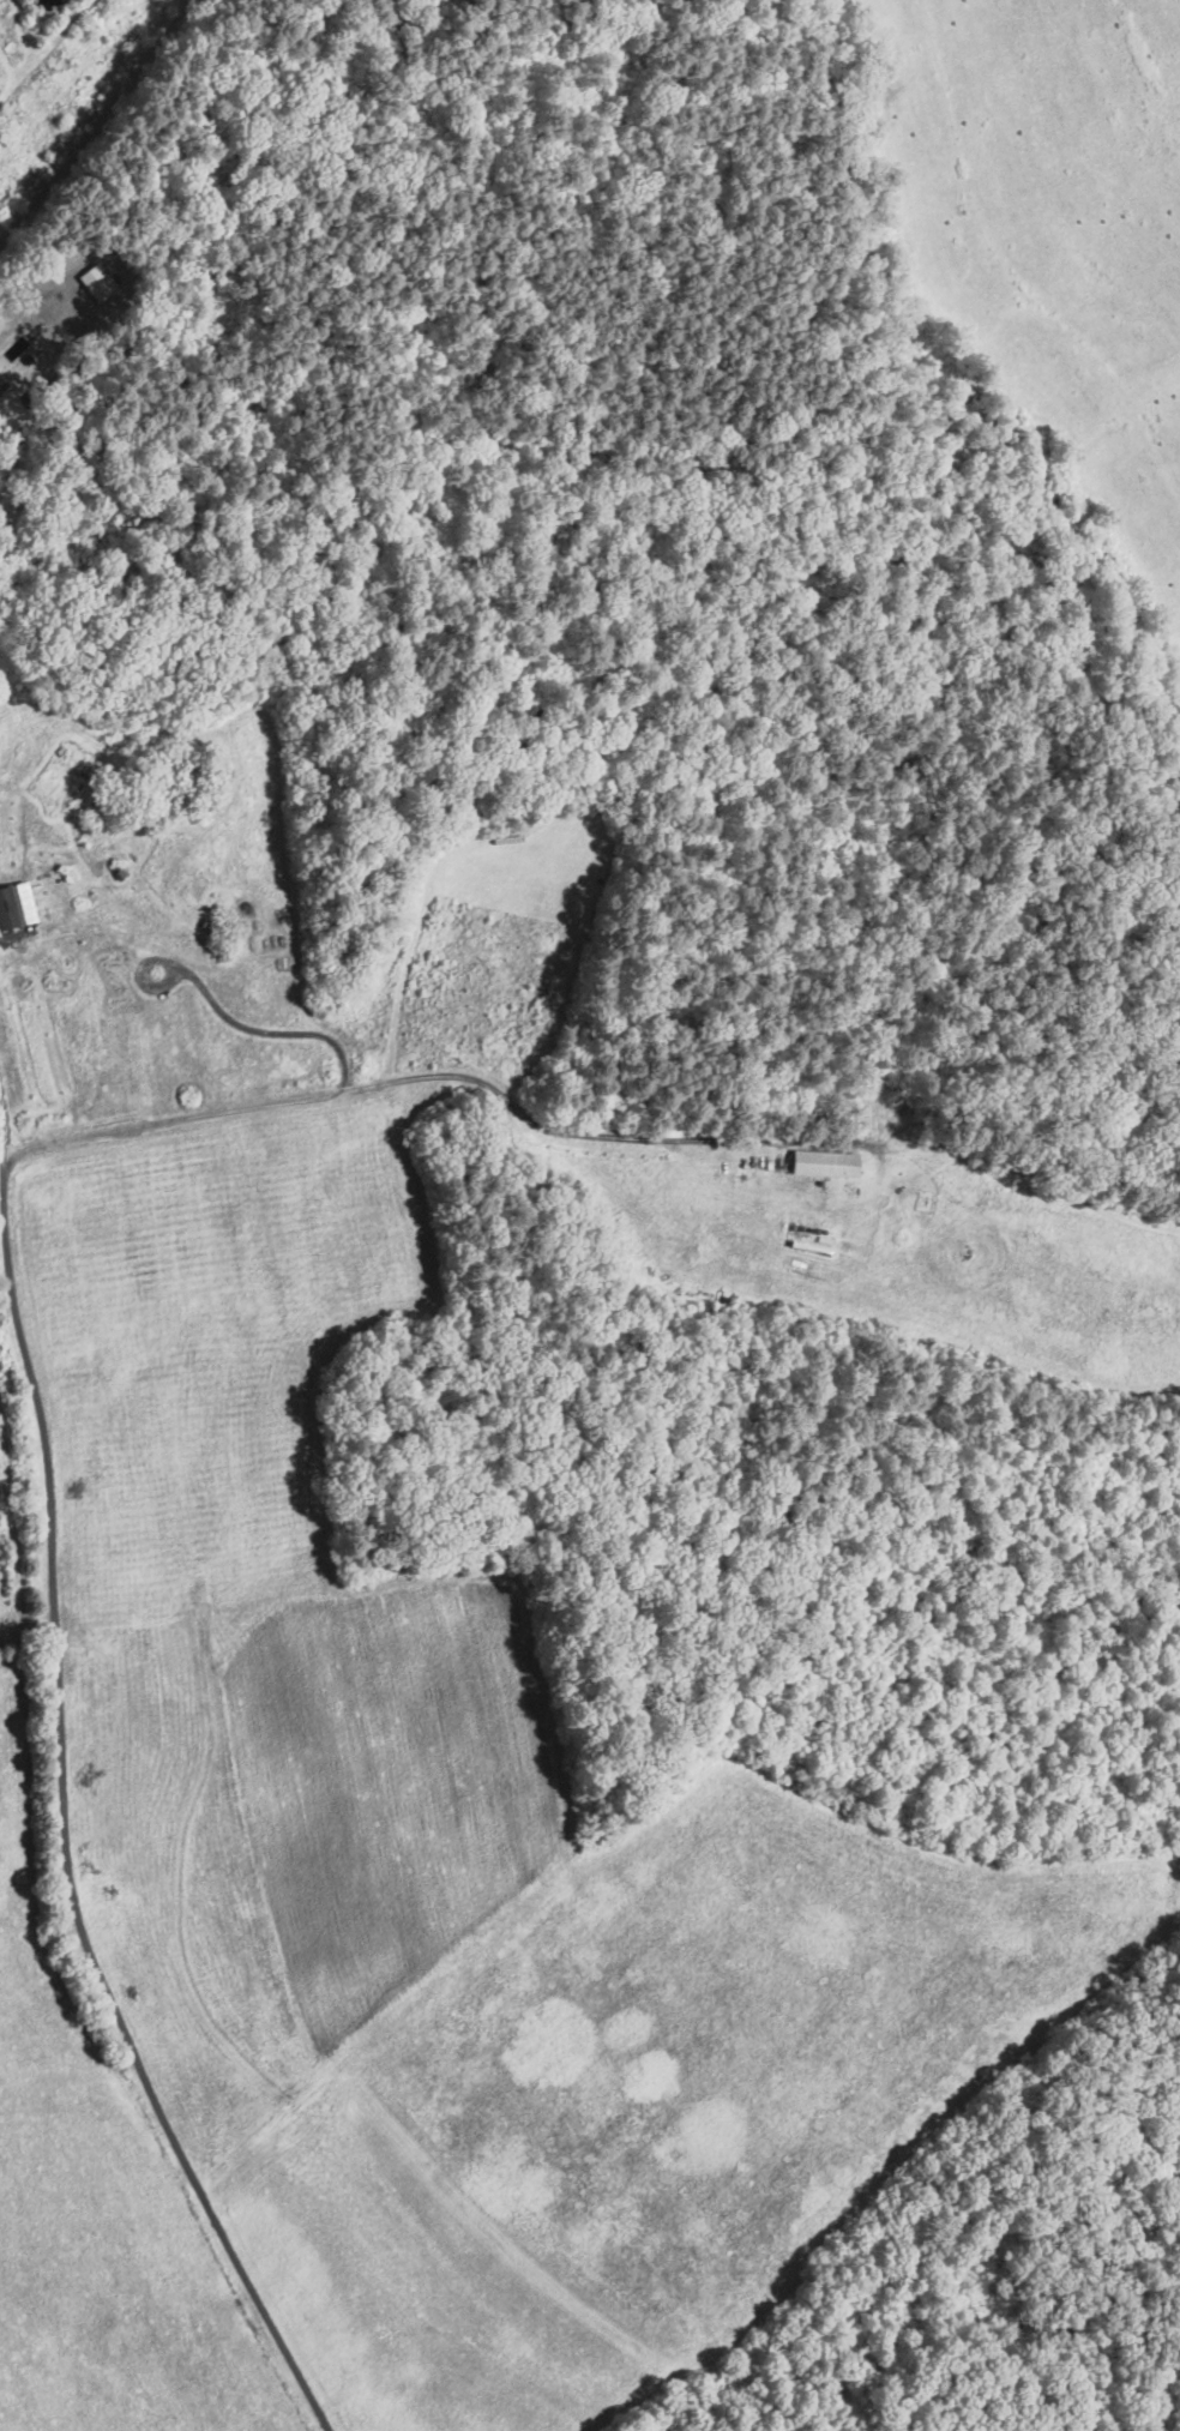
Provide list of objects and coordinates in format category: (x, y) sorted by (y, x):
building: (0, 314)
building: (1, 384)
building: (59, 750)
building: (217, 759)
building: (119, 872)
building: (16, 901)
building: (240, 921)
road: (229, 1018)
road: (745, 1138)
road: (1, 1142)
building: (824, 1161)
road: (47, 1473)

